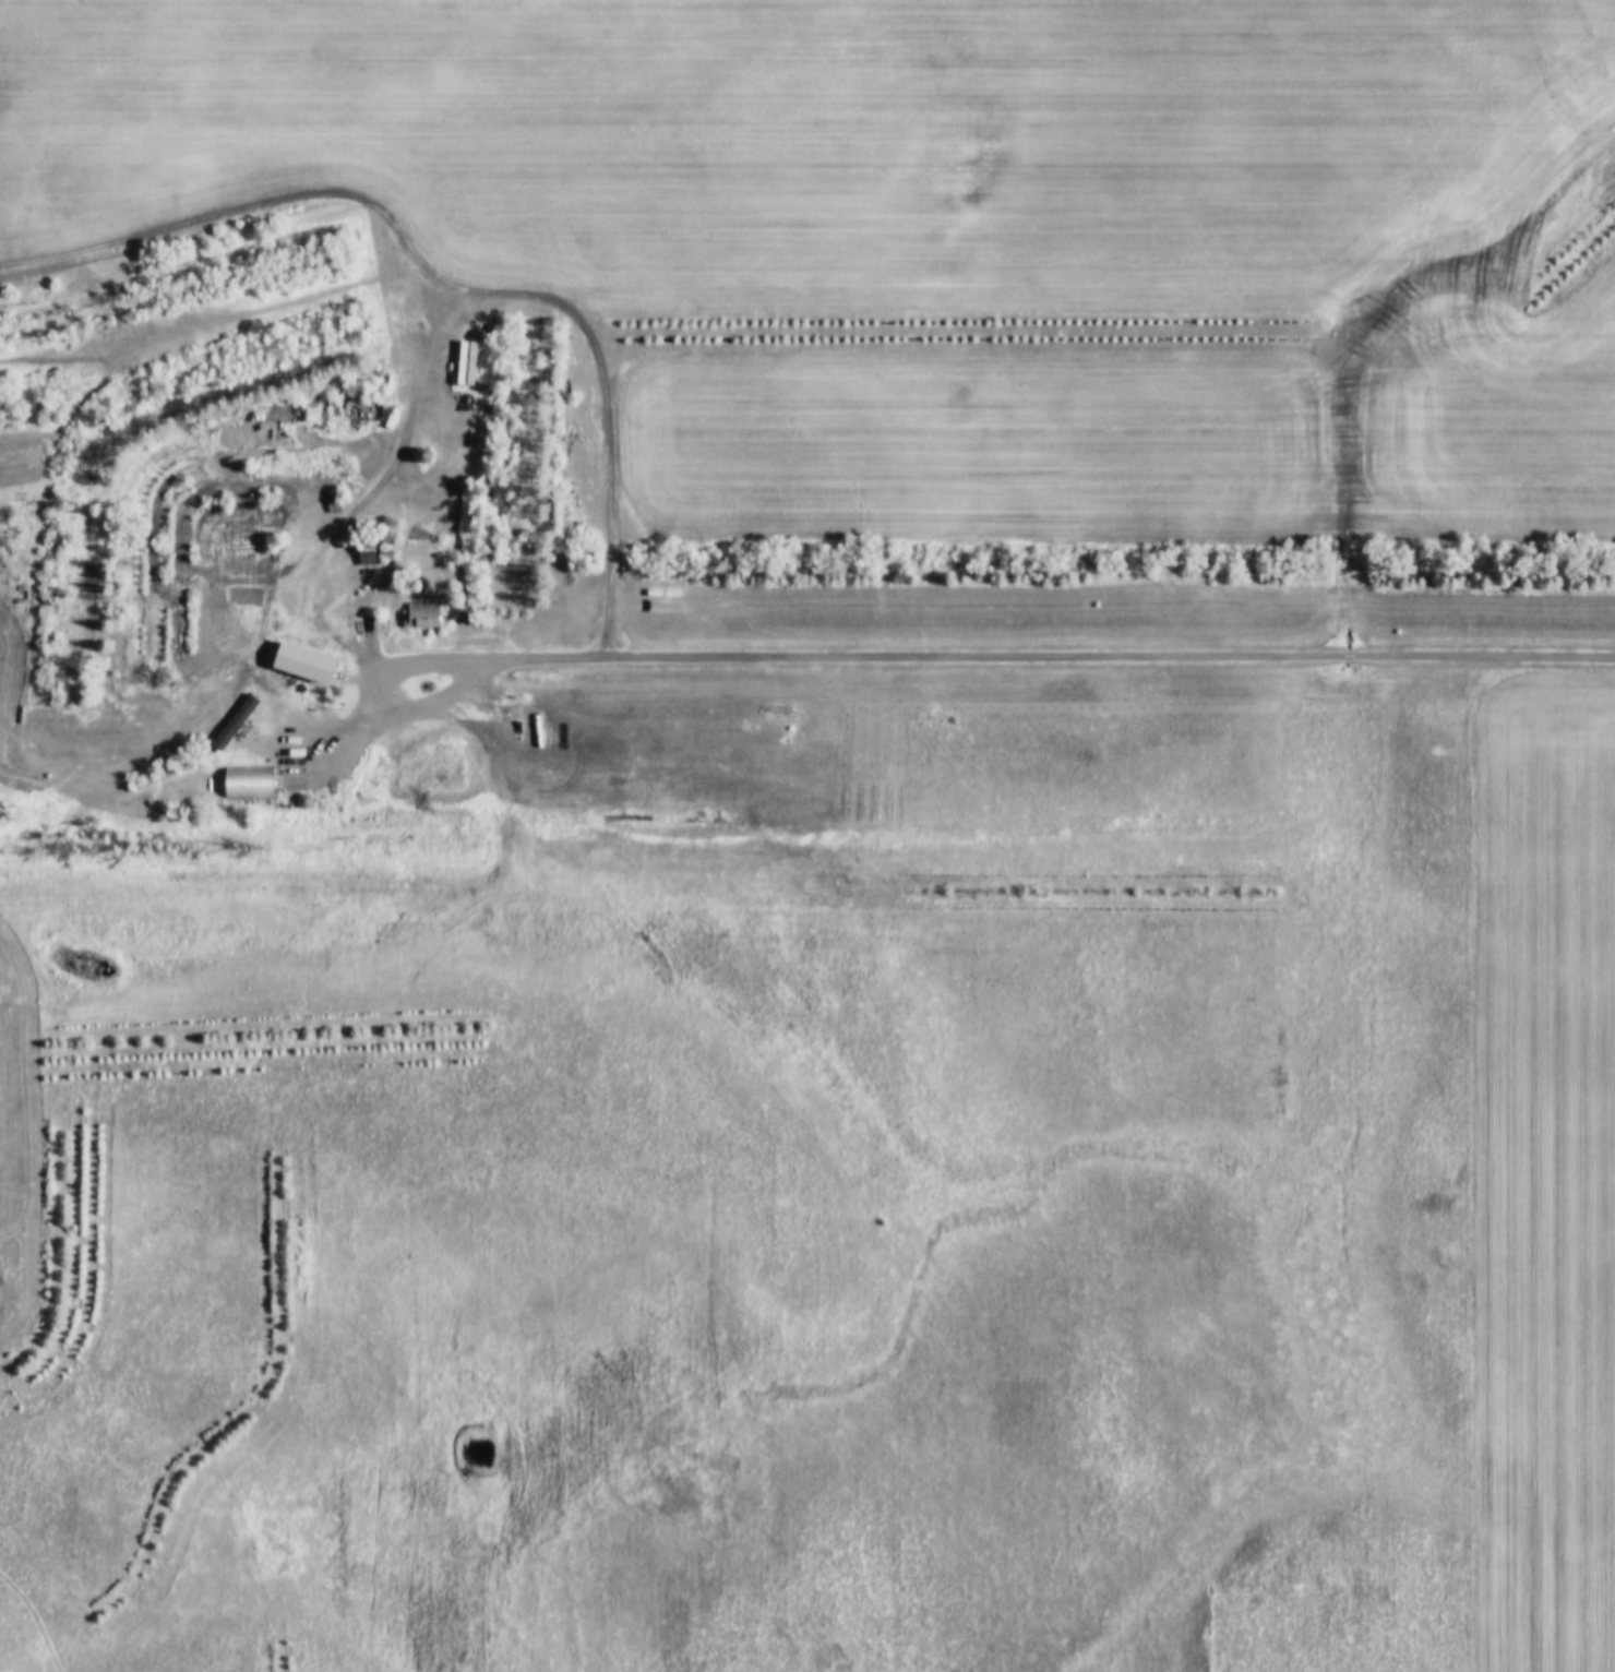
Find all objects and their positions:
road: (438, 288)
building: (288, 404)
building: (429, 604)
road: (931, 658)
building: (340, 660)

